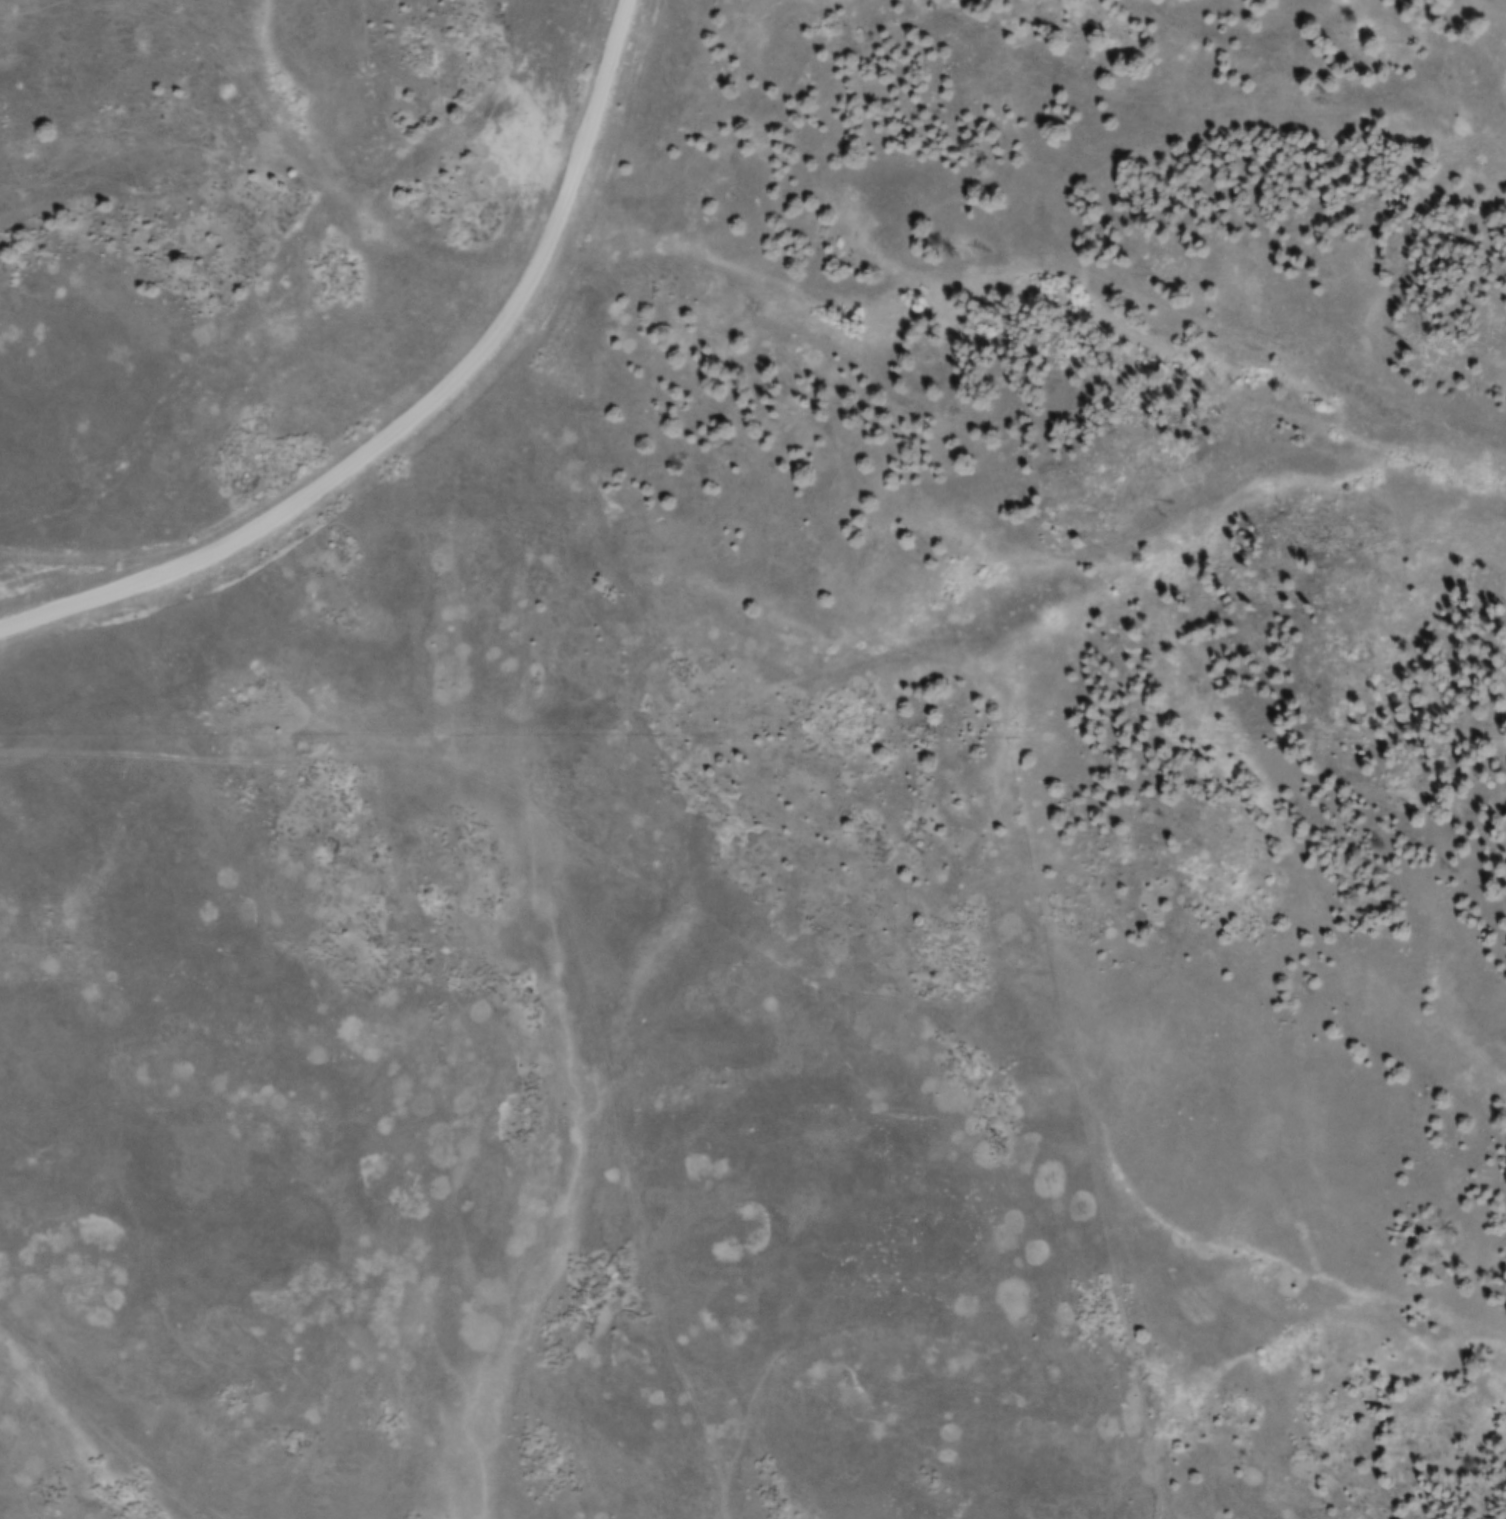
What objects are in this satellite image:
road: (418, 414)
road: (153, 550)
road: (494, 778)

